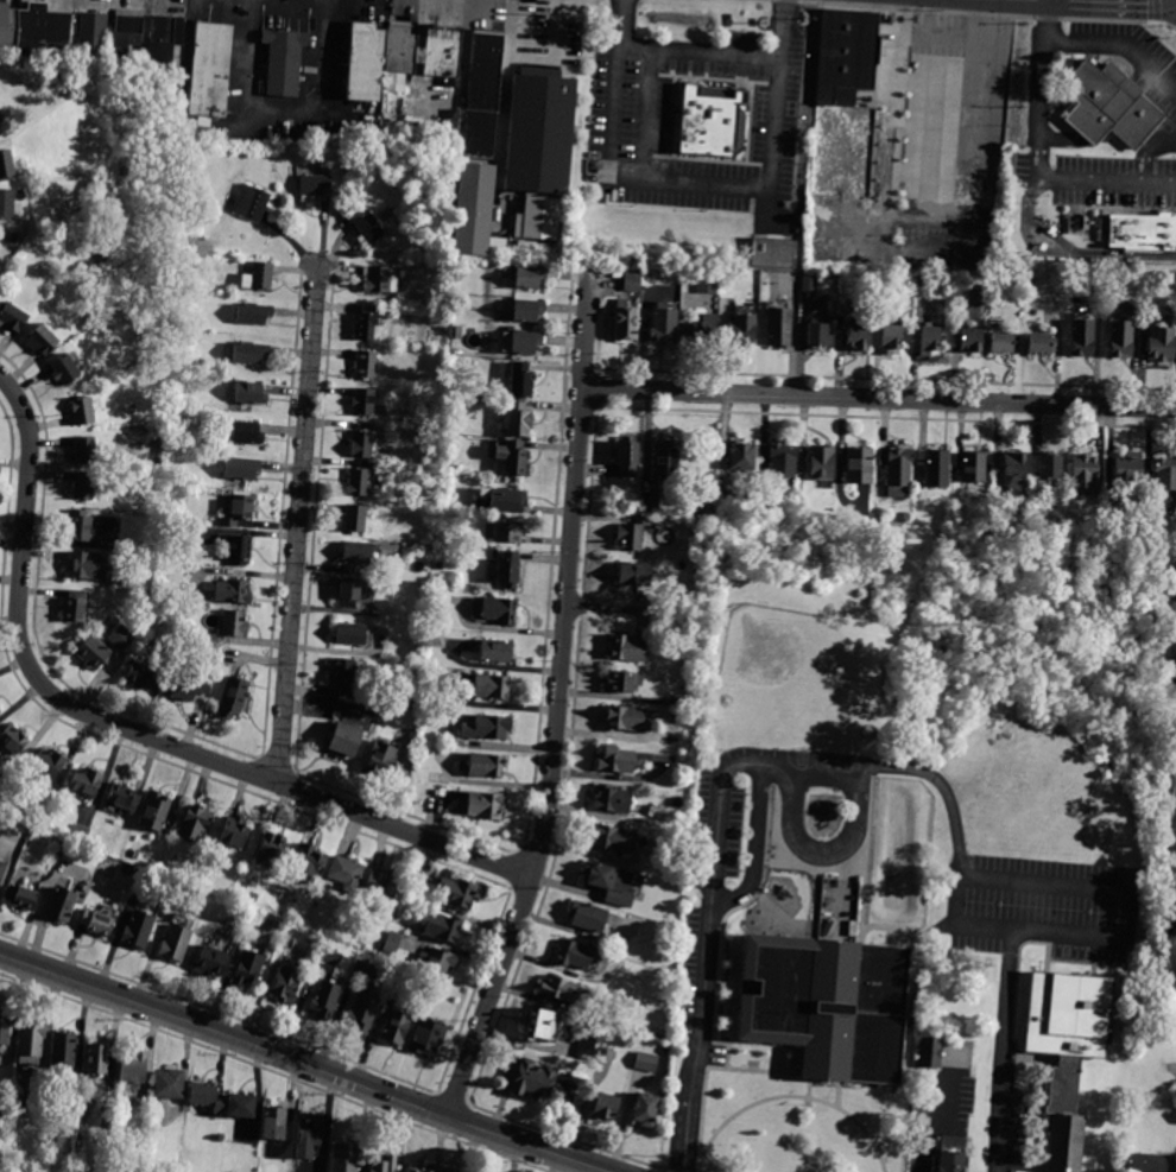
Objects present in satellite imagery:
road: (1131, 2)
building: (38, 28)
building: (126, 28)
building: (91, 30)
road: (946, 32)
building: (163, 38)
building: (405, 40)
road: (1101, 42)
road: (698, 50)
building: (444, 56)
building: (287, 62)
building: (369, 62)
building: (208, 70)
building: (849, 103)
building: (1108, 104)
road: (645, 113)
building: (0, 115)
road: (898, 119)
building: (706, 121)
road: (1146, 150)
building: (478, 151)
building: (540, 154)
building: (7, 163)
road: (1039, 171)
road: (696, 183)
building: (315, 185)
road: (974, 185)
building: (7, 201)
building: (252, 201)
road: (766, 207)
building: (369, 227)
building: (1140, 233)
building: (14, 236)
road: (1036, 247)
building: (774, 251)
road: (1074, 251)
building: (258, 274)
building: (530, 278)
building: (381, 279)
building: (633, 283)
building: (708, 284)
building: (809, 285)
building: (923, 287)
building: (979, 294)
building: (253, 312)
building: (529, 312)
road: (796, 313)
building: (14, 318)
building: (368, 321)
road: (804, 322)
building: (664, 323)
building: (627, 324)
building: (190, 325)
building: (780, 329)
building: (703, 330)
building: (742, 331)
building: (820, 336)
building: (932, 338)
building: (859, 340)
building: (1083, 340)
building: (42, 341)
building: (890, 341)
building: (1123, 341)
building: (973, 342)
building: (523, 343)
building: (1005, 344)
building: (1163, 344)
building: (1043, 346)
building: (249, 351)
building: (367, 363)
road: (798, 366)
building: (65, 370)
building: (523, 381)
building: (251, 392)
building: (181, 398)
road: (879, 399)
building: (365, 400)
building: (83, 412)
building: (519, 420)
building: (247, 431)
building: (362, 443)
building: (86, 450)
building: (628, 457)
building: (513, 458)
building: (744, 458)
building: (784, 462)
building: (666, 463)
building: (822, 463)
building: (241, 467)
building: (861, 467)
building: (1051, 467)
building: (936, 468)
building: (973, 468)
building: (1131, 469)
building: (1016, 471)
building: (1086, 471)
building: (898, 473)
building: (1166, 475)
building: (359, 481)
building: (83, 487)
building: (399, 493)
building: (505, 501)
building: (652, 506)
building: (236, 508)
building: (356, 517)
road: (298, 521)
building: (81, 527)
building: (505, 533)
building: (633, 534)
building: (239, 549)
building: (358, 551)
building: (87, 564)
building: (510, 571)
building: (637, 576)
building: (233, 590)
building: (350, 595)
building: (1175, 596)
building: (75, 606)
road: (612, 609)
building: (500, 612)
building: (235, 622)
road: (1166, 632)
building: (350, 633)
building: (121, 636)
building: (630, 650)
building: (93, 651)
building: (497, 653)
building: (143, 676)
building: (343, 676)
building: (624, 683)
park: (802, 685)
building: (1171, 685)
building: (189, 689)
building: (493, 689)
building: (234, 696)
road: (557, 699)
building: (682, 704)
building: (415, 705)
building: (626, 720)
building: (488, 729)
road: (132, 731)
building: (344, 739)
building: (13, 741)
building: (384, 760)
building: (618, 761)
park: (801, 762)
park: (845, 765)
building: (49, 766)
building: (487, 767)
building: (87, 784)
road: (942, 785)
building: (2, 787)
building: (124, 798)
building: (613, 800)
building: (487, 807)
road: (715, 811)
building: (157, 812)
building: (44, 822)
building: (196, 824)
building: (235, 834)
building: (81, 835)
building: (612, 840)
road: (760, 841)
road: (836, 850)
building: (272, 853)
building: (134, 854)
building: (309, 866)
building: (2, 869)
building: (127, 870)
building: (347, 873)
road: (1130, 882)
building: (612, 885)
building: (254, 886)
building: (384, 888)
building: (1172, 888)
road: (843, 891)
building: (460, 893)
road: (820, 895)
building: (21, 899)
building: (62, 907)
park: (766, 916)
building: (589, 918)
road: (954, 924)
building: (97, 925)
building: (447, 930)
building: (139, 932)
building: (176, 944)
building: (296, 944)
building: (393, 944)
building: (576, 957)
building: (213, 963)
building: (438, 963)
building: (249, 971)
building: (287, 983)
building: (561, 992)
road: (707, 997)
building: (327, 1003)
building: (832, 1005)
building: (362, 1015)
building: (396, 1024)
building: (543, 1027)
building: (5, 1028)
building: (429, 1040)
building: (588, 1041)
building: (1067, 1043)
building: (32, 1044)
building: (64, 1050)
building: (666, 1050)
road: (1004, 1050)
building: (931, 1054)
building: (606, 1057)
building: (99, 1060)
road: (303, 1063)
building: (647, 1064)
building: (134, 1069)
building: (531, 1081)
building: (170, 1082)
building: (1175, 1087)
road: (811, 1088)
road: (836, 1091)
road: (795, 1095)
building: (208, 1098)
building: (241, 1104)
flagpole: (809, 1104)
building: (608, 1109)
building: (647, 1113)
road: (685, 1115)
road: (935, 1121)
building: (276, 1125)
building: (309, 1139)
building: (953, 1154)
building: (346, 1157)
road: (683, 1157)
building: (1149, 1163)
building: (1174, 1163)
building: (387, 1165)
building: (421, 1170)
building: (450, 1171)

